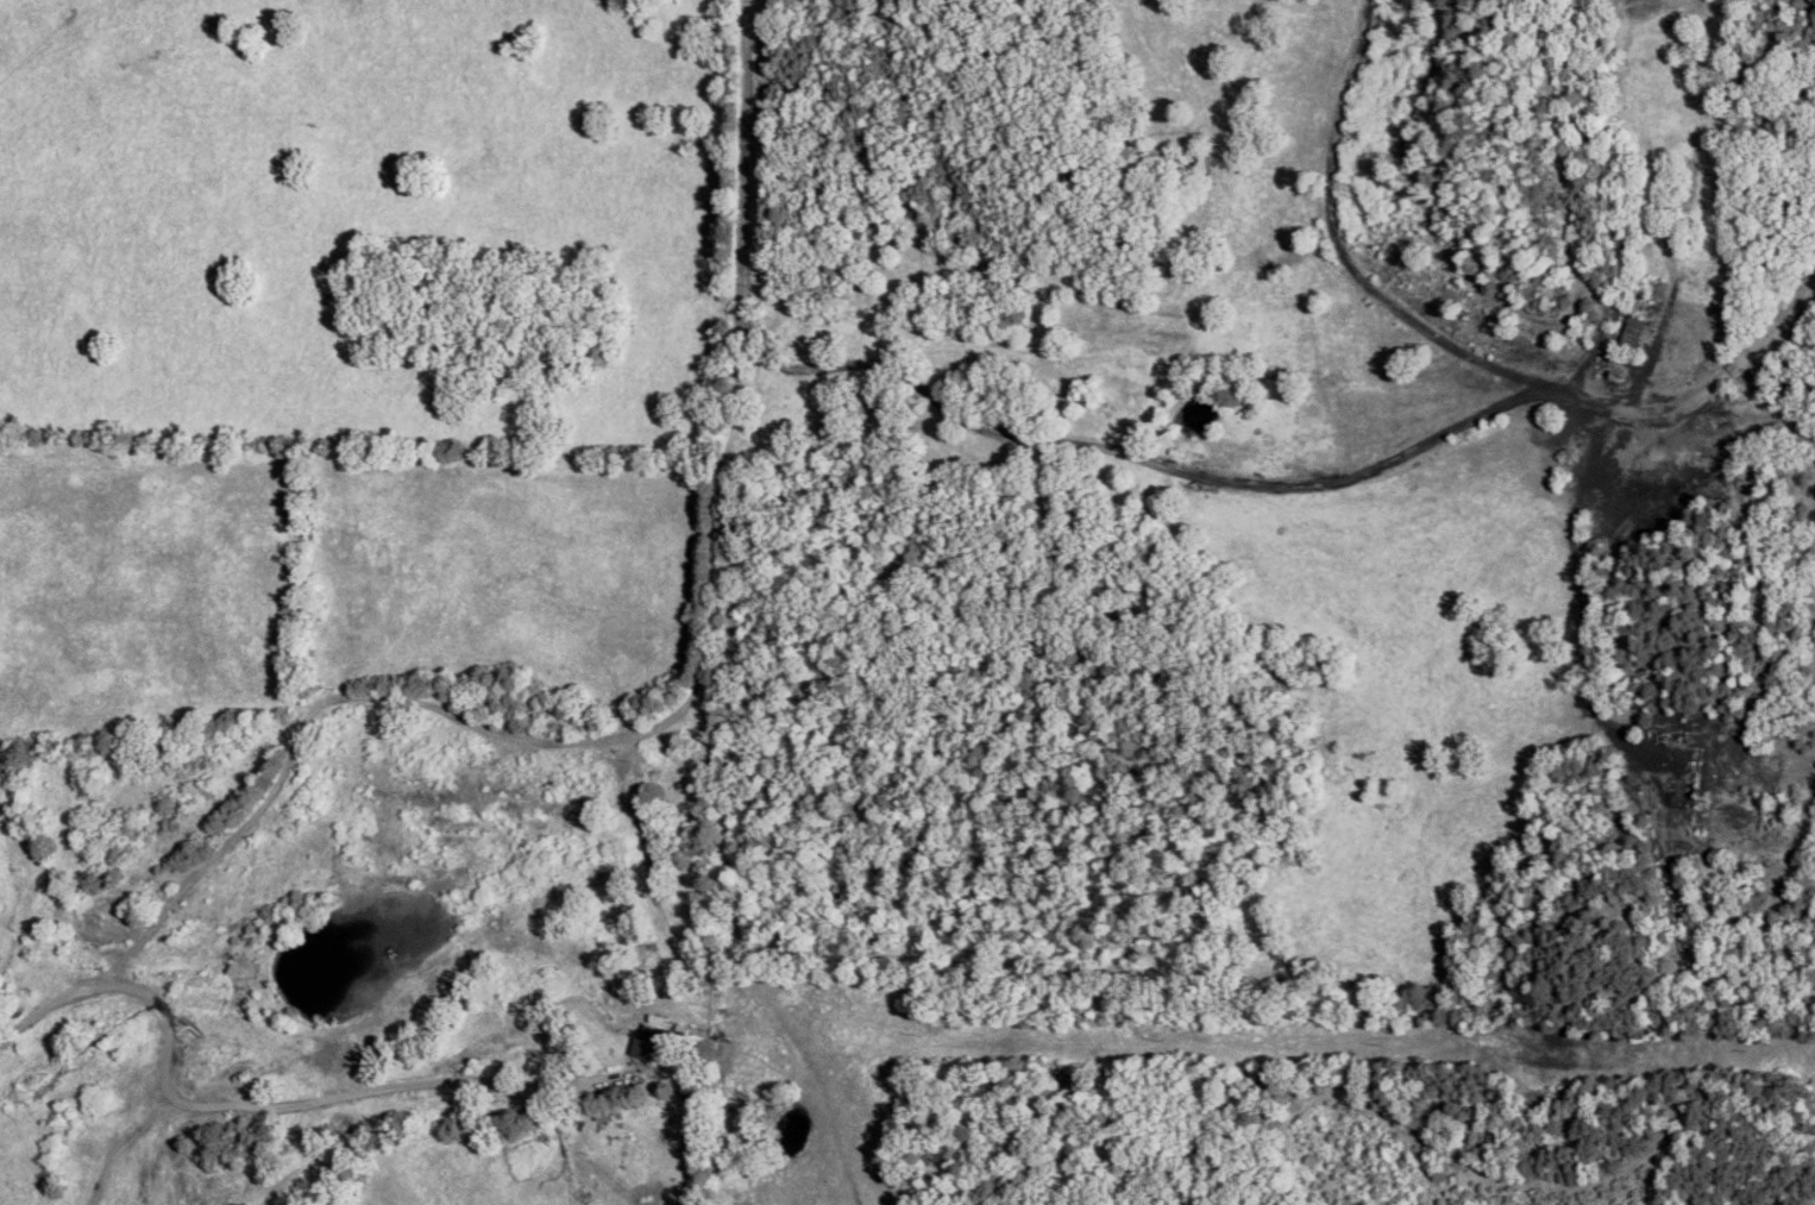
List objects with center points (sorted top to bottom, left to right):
road: (1332, 249)
building: (1631, 332)
road: (1700, 391)
road: (1142, 457)
road: (670, 718)
road: (44, 1008)
building: (648, 1043)
road: (167, 1084)
road: (389, 1087)

